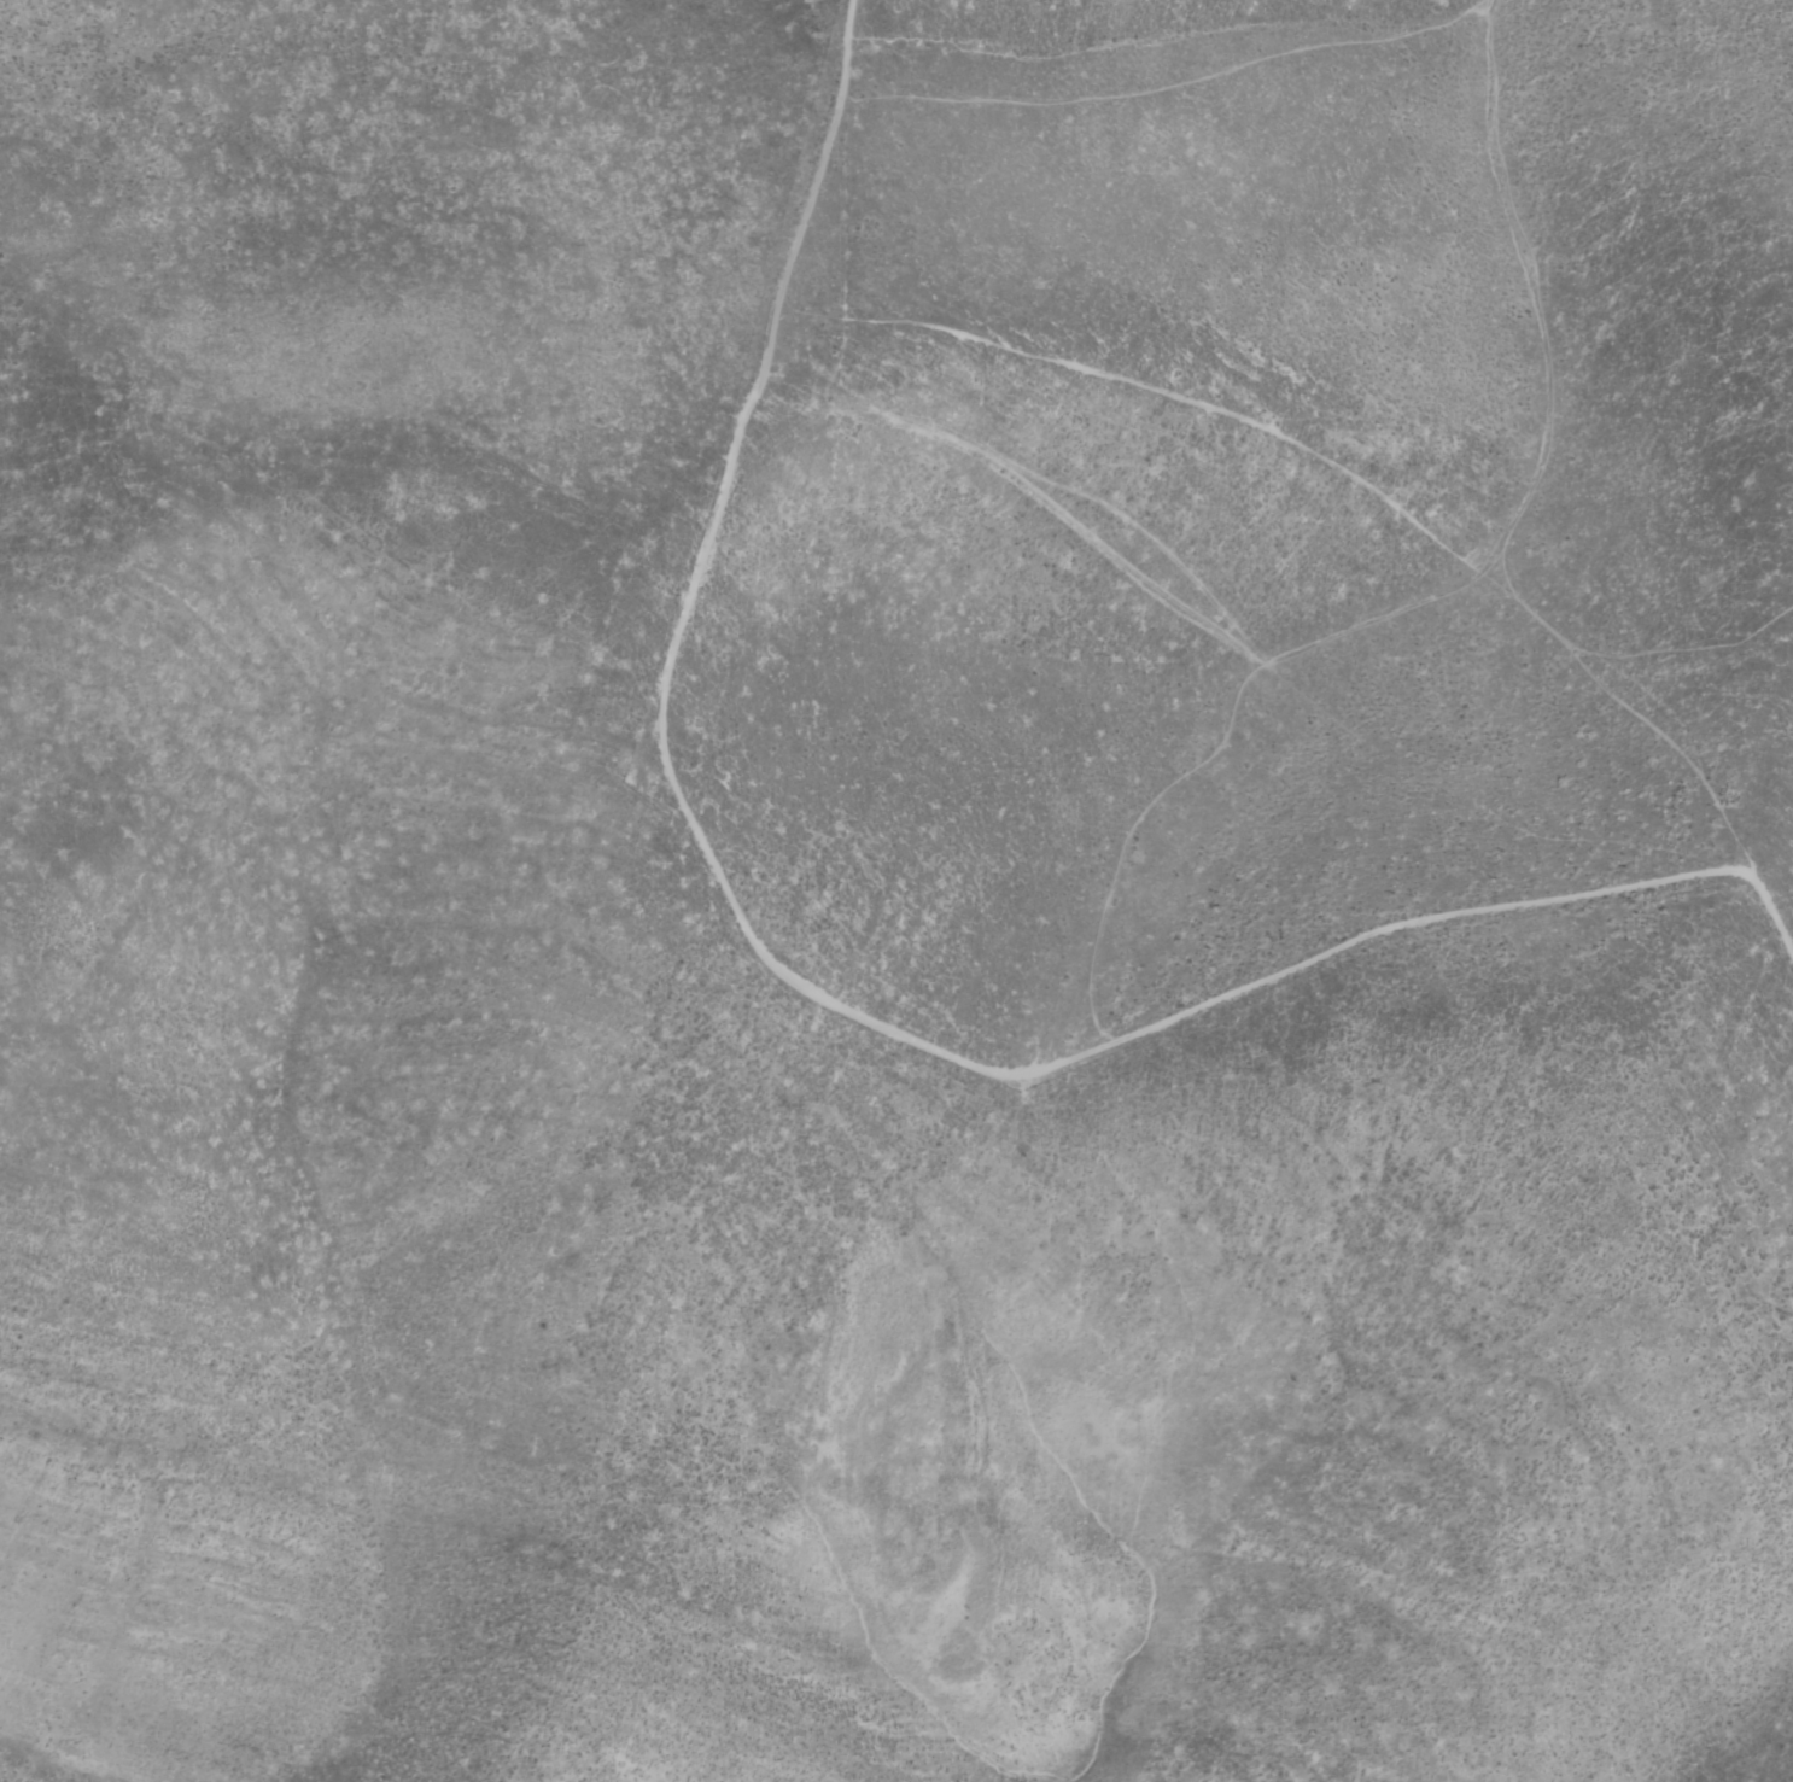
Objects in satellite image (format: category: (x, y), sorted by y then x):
road: (817, 991)

